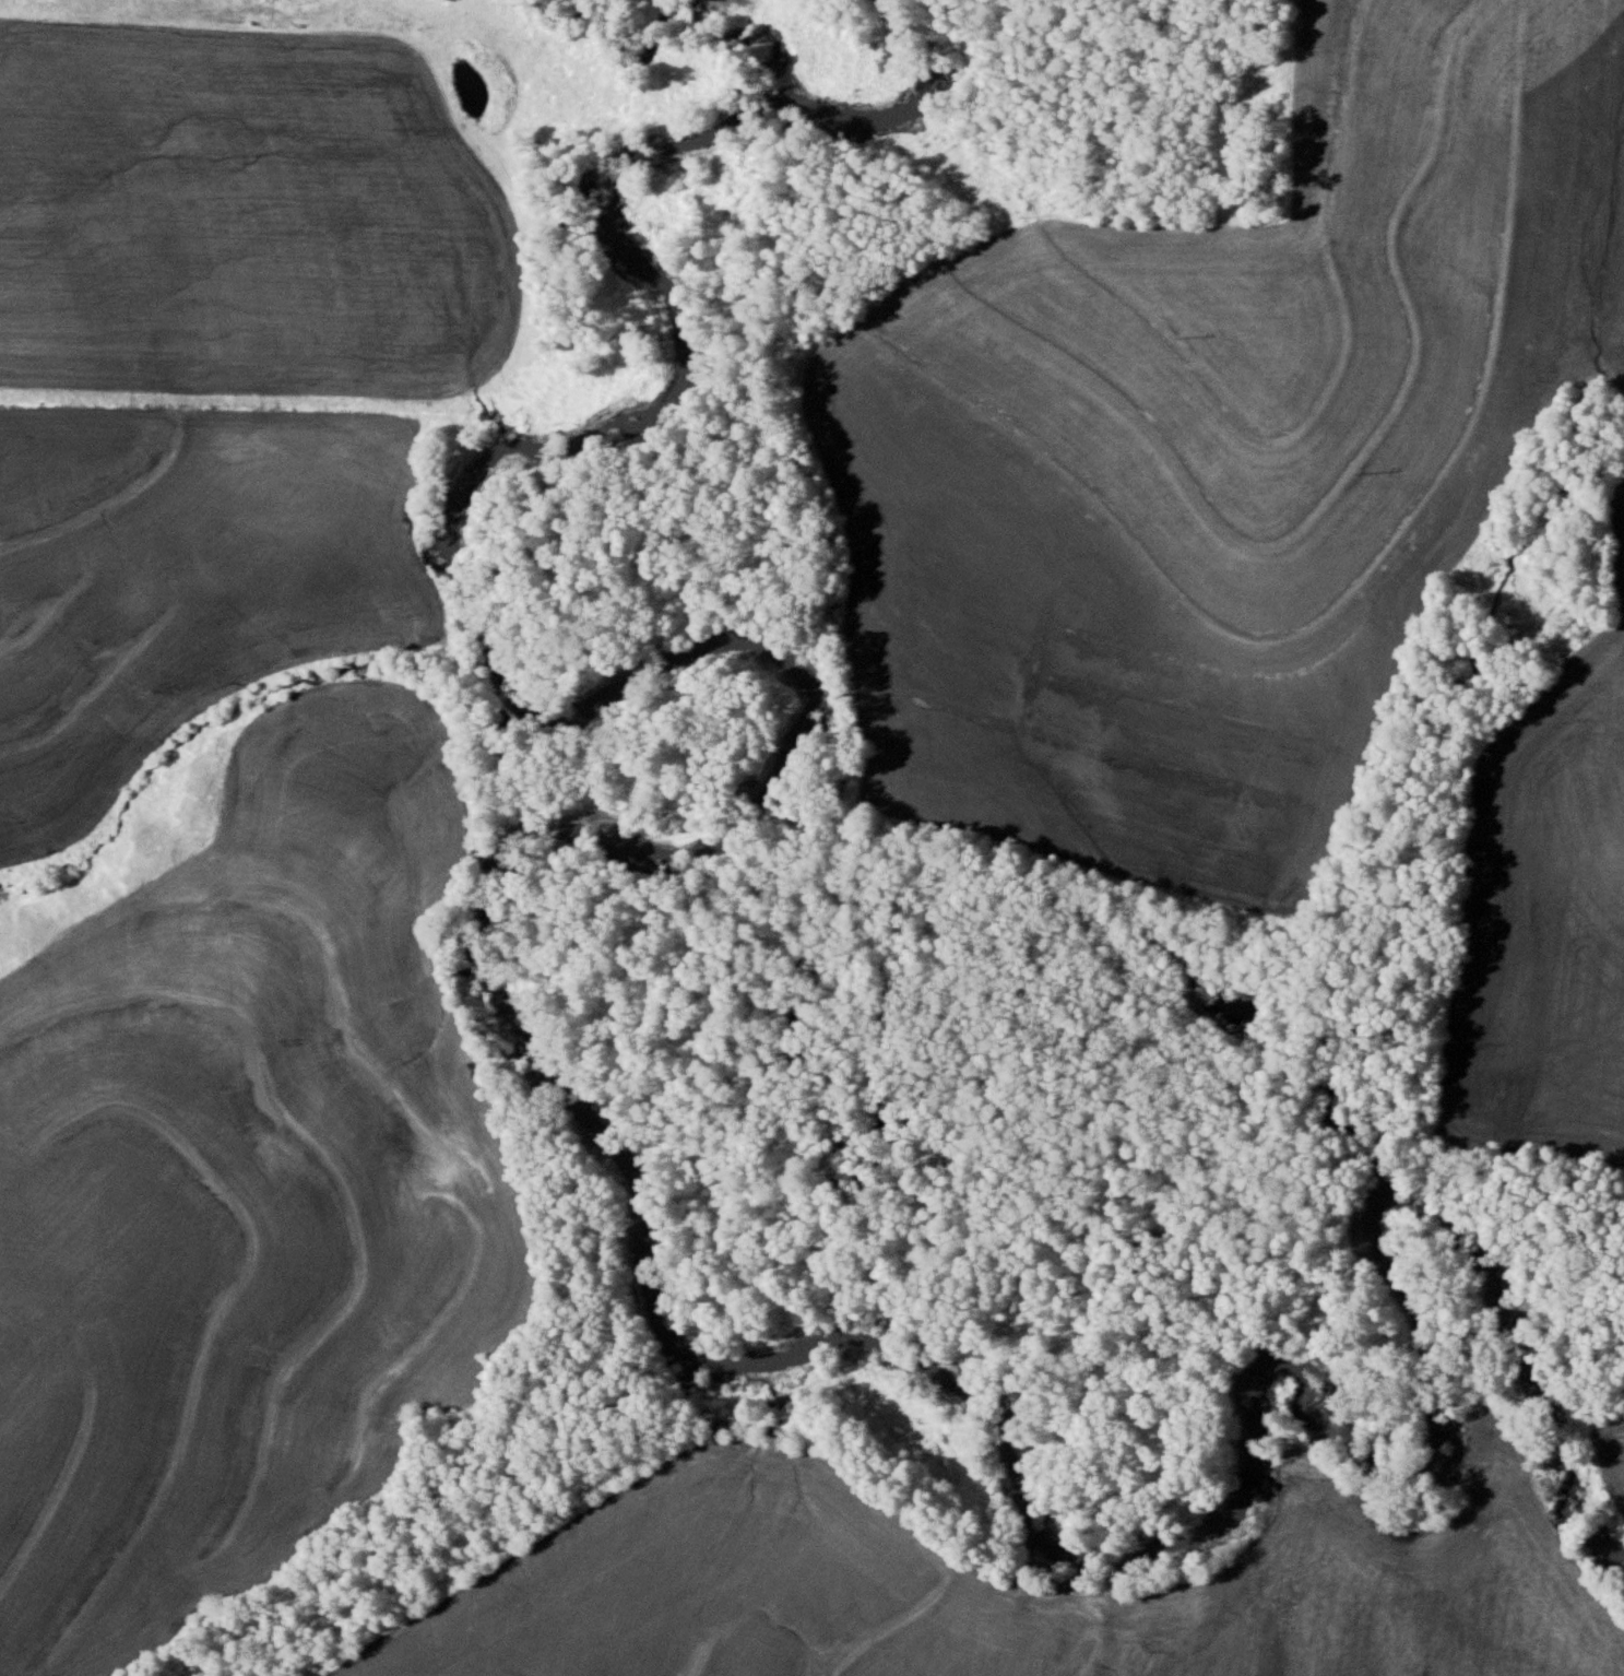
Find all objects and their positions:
park: (1252, 142)
building: (1194, 1530)

